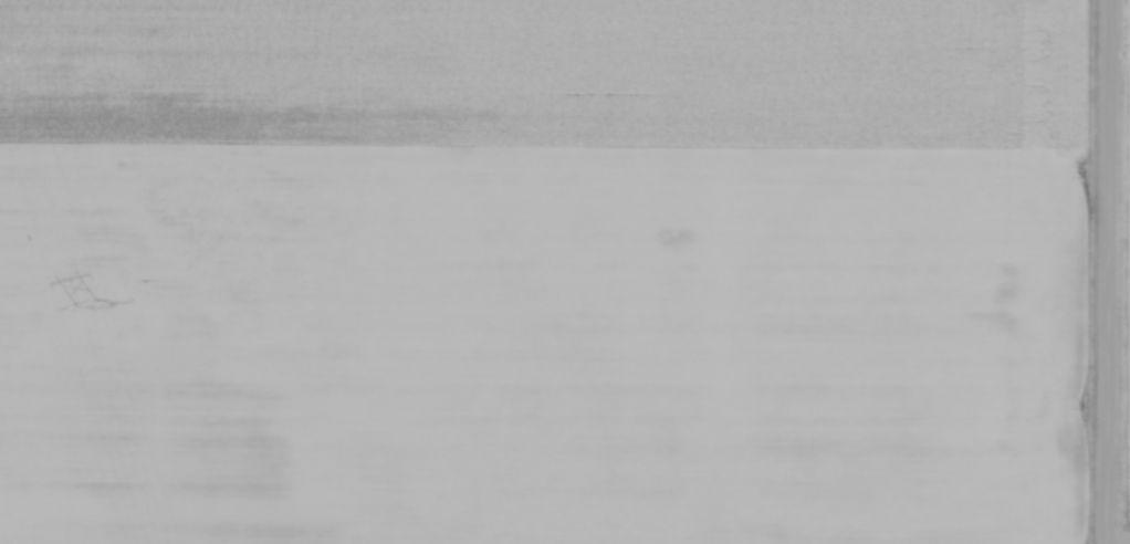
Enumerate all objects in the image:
road: (1102, 272)
power tower: (95, 300)

